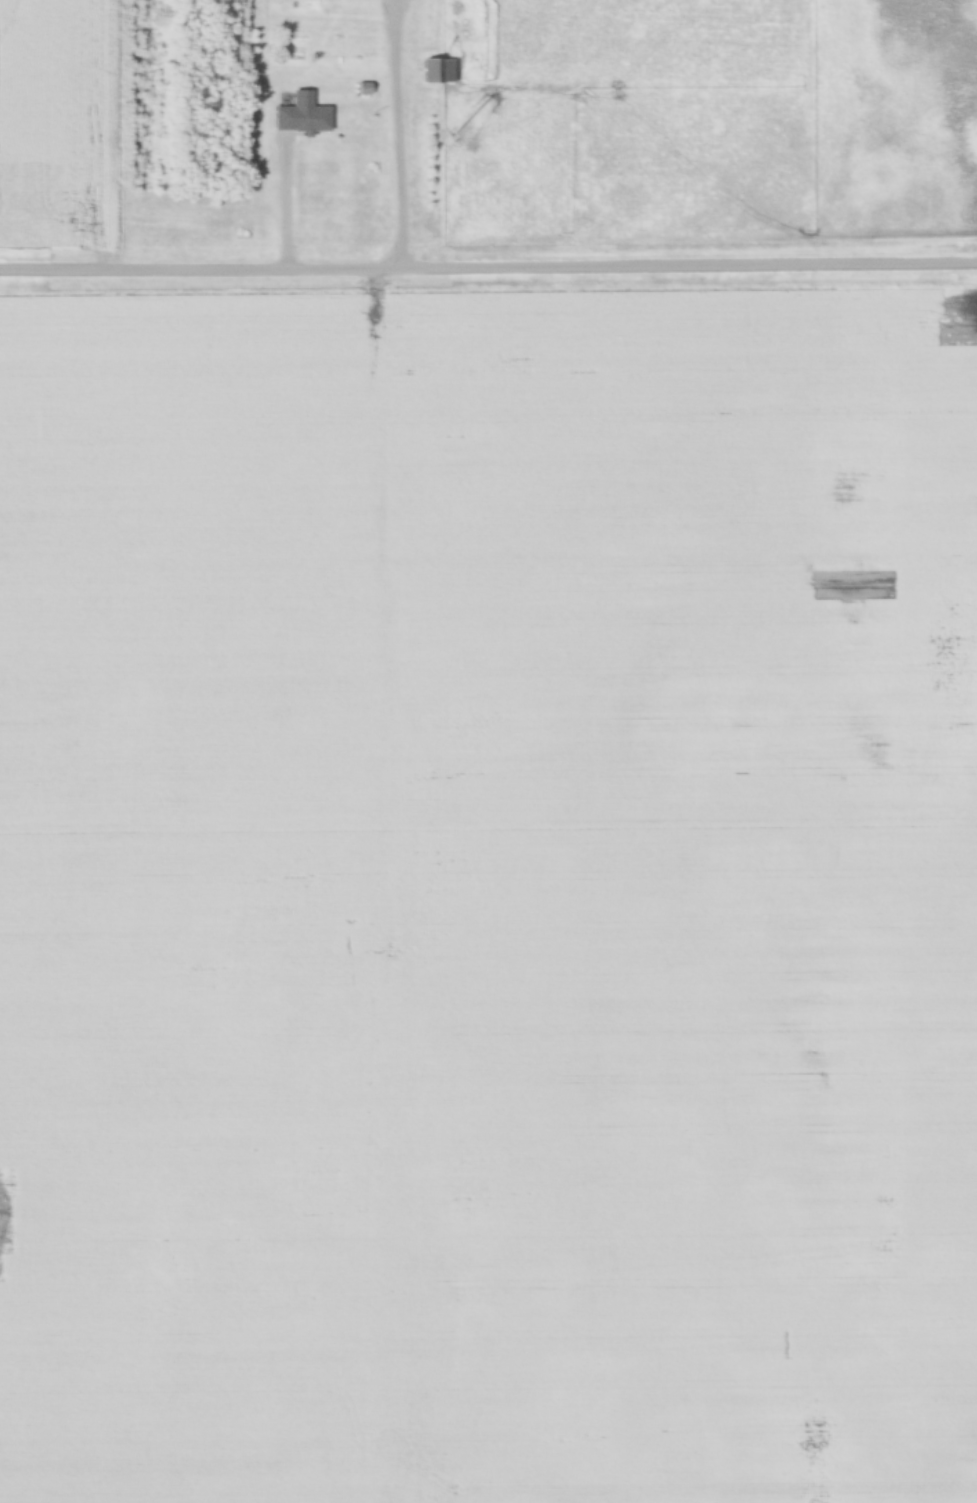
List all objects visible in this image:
building: (436, 70)
building: (300, 117)
road: (488, 269)

